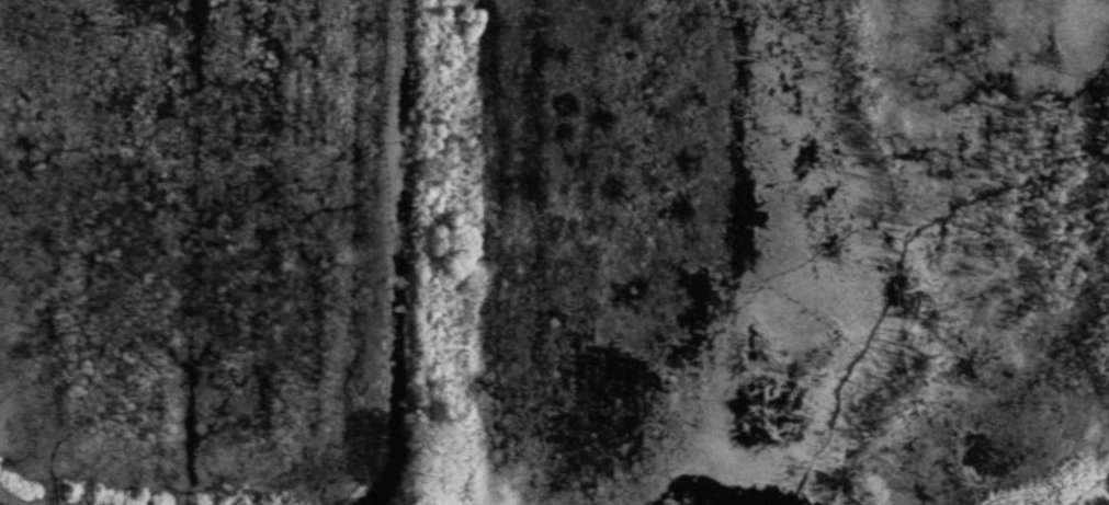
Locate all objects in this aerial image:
crop: (548, 246)

